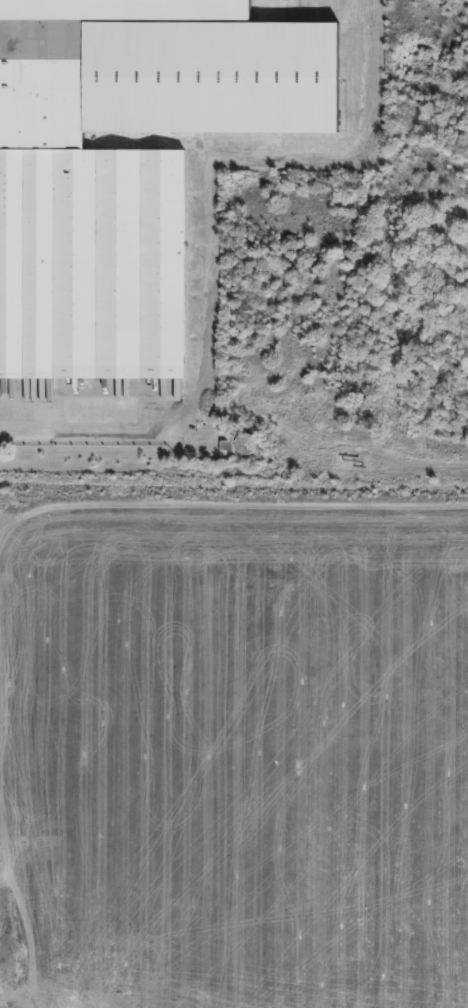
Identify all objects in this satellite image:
building: (127, 164)
crop: (233, 749)

